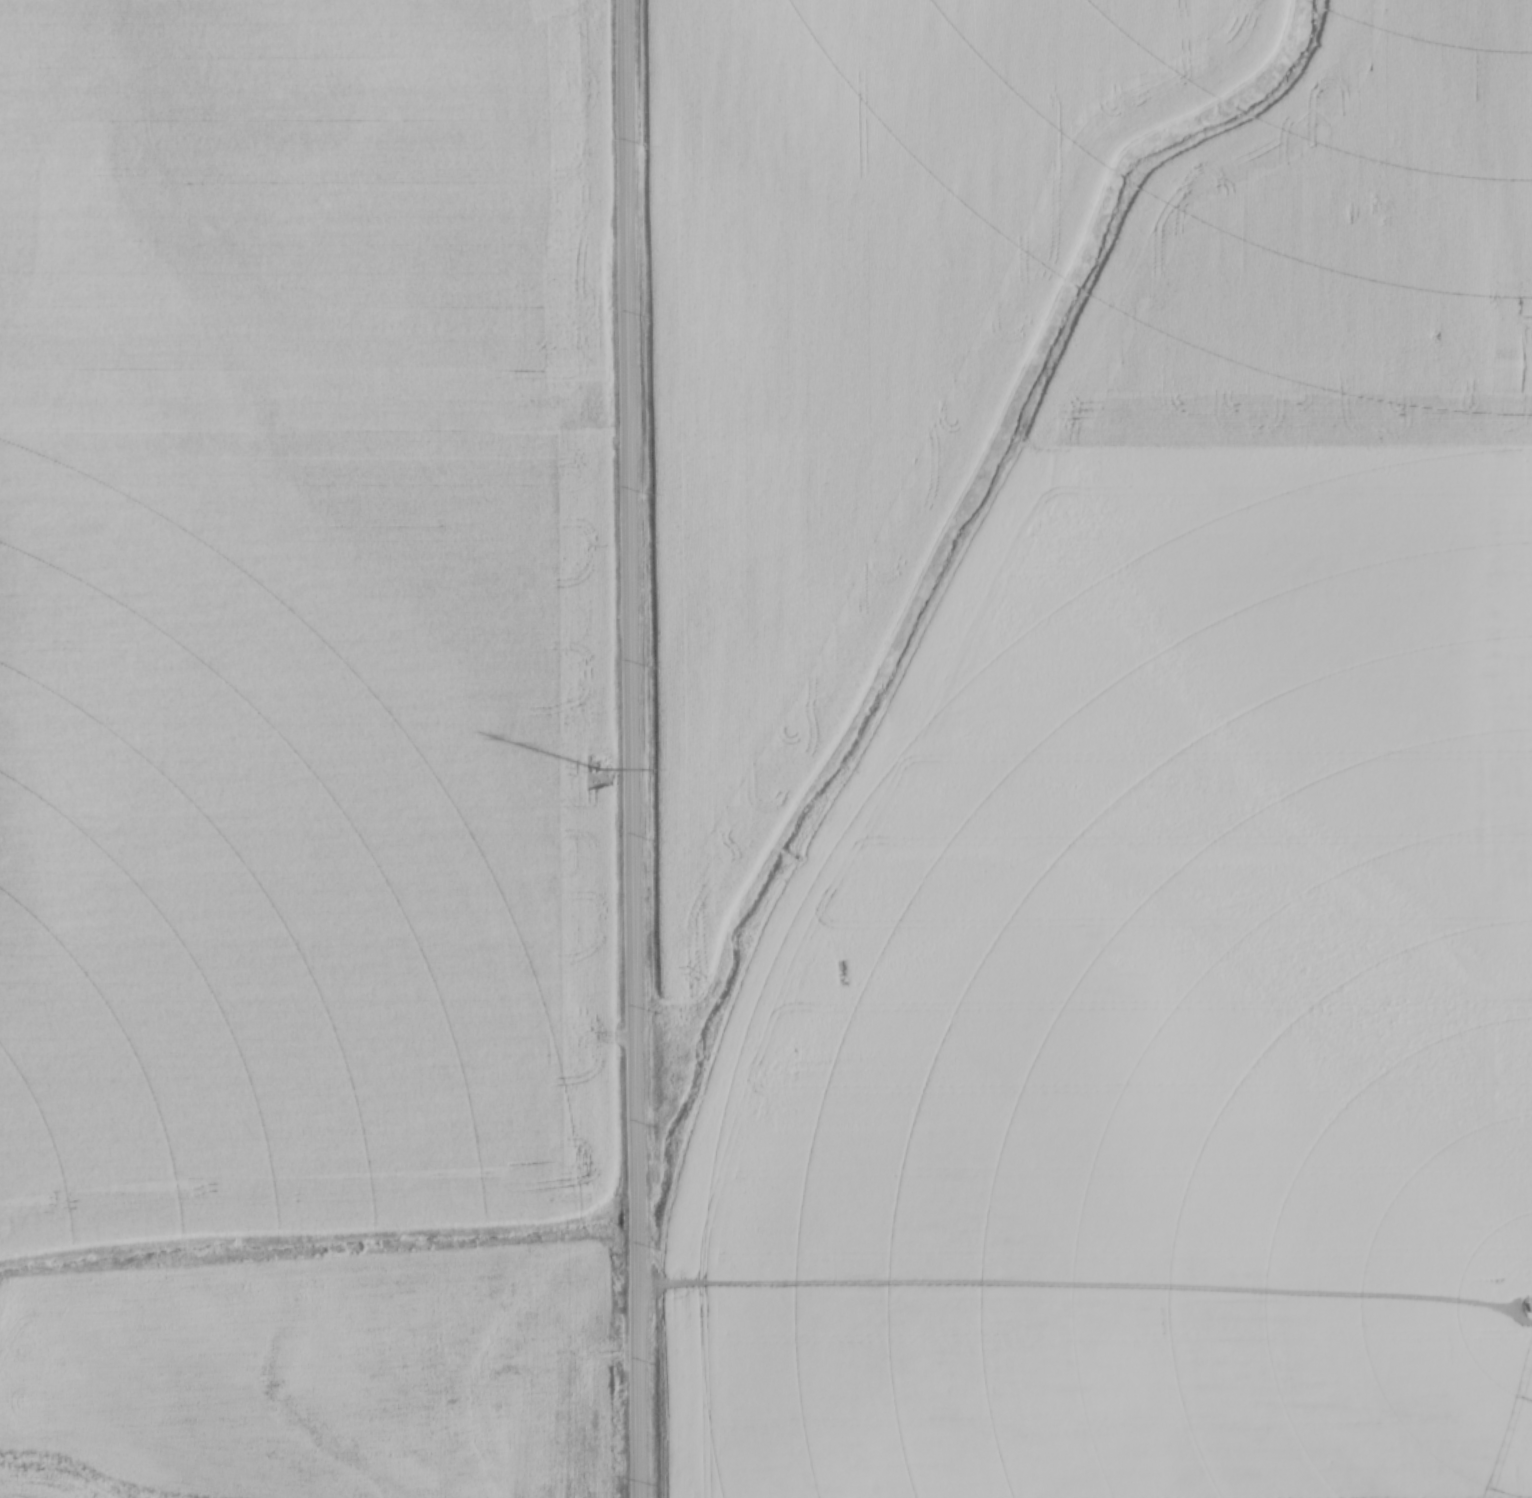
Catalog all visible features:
road: (634, 748)
power tower: (597, 768)

